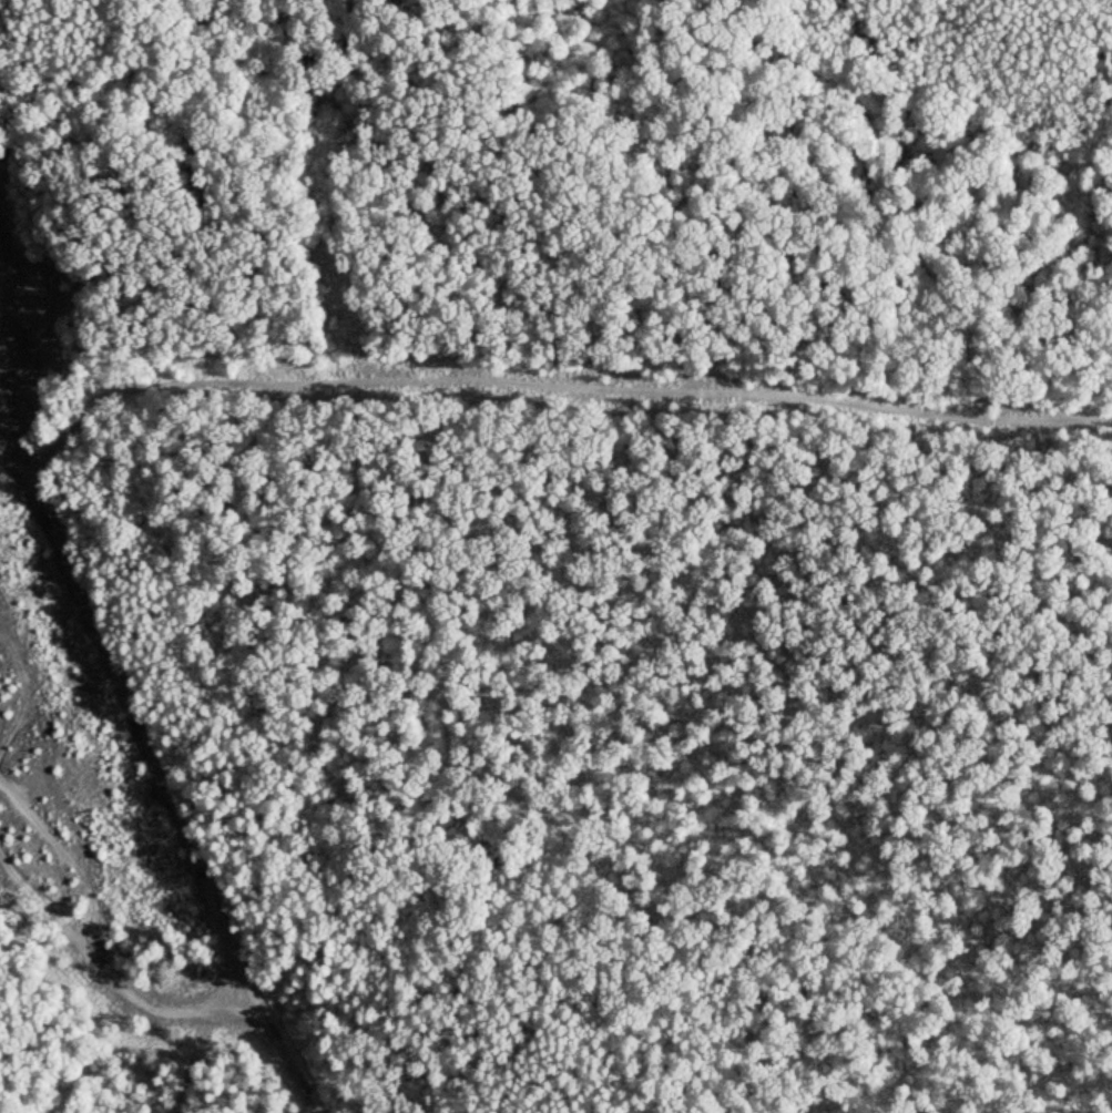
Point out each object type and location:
road: (553, 384)
road: (152, 760)
road: (106, 980)

